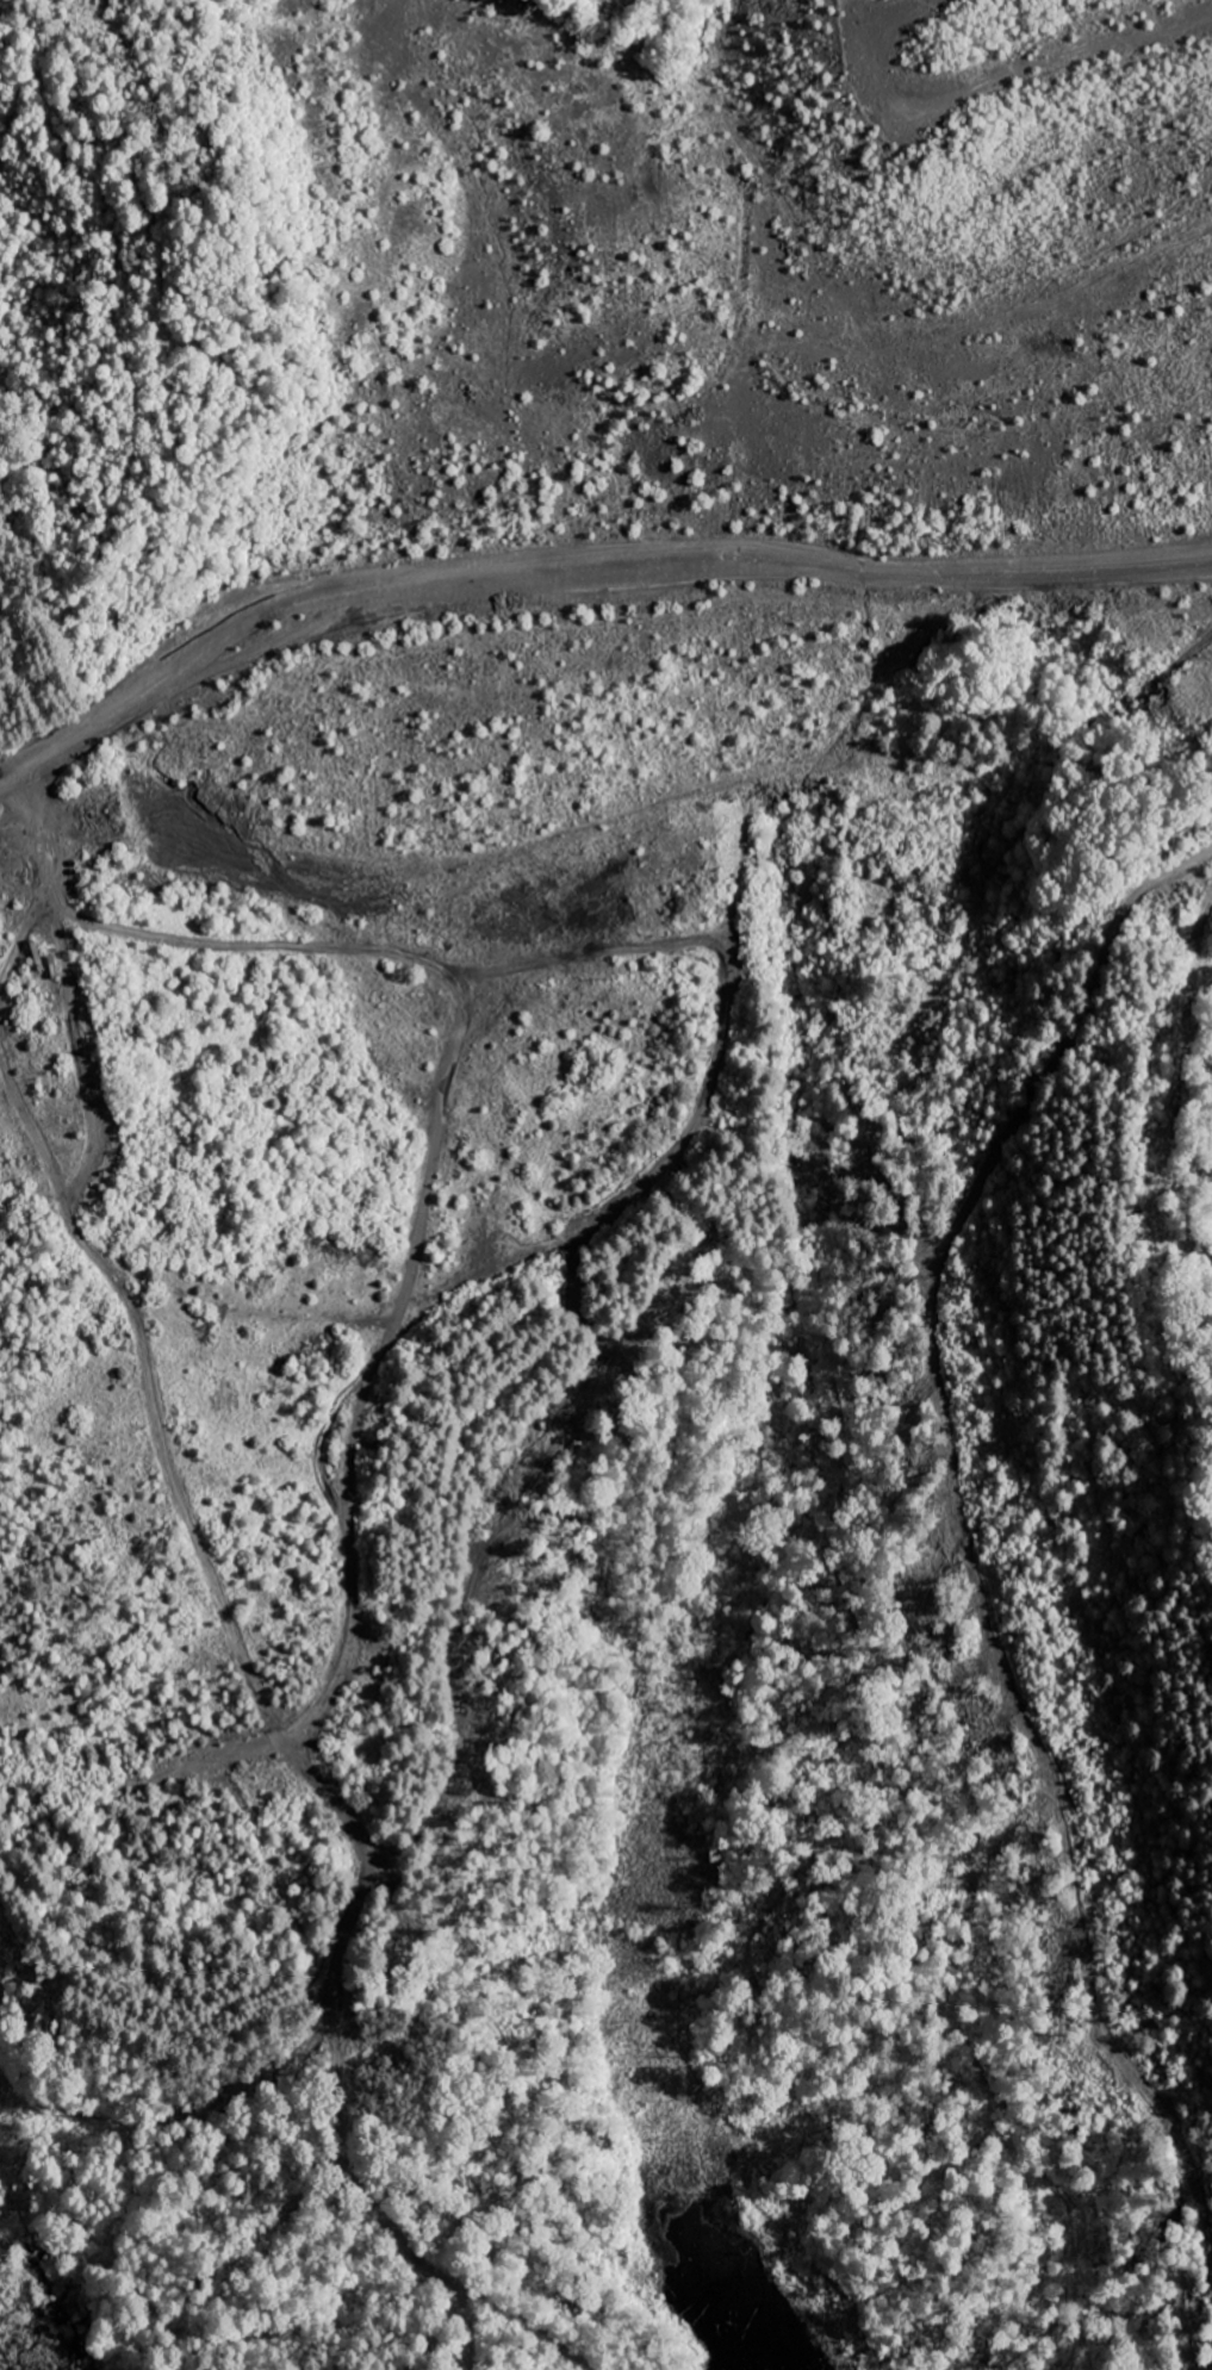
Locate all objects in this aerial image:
road: (771, 572)
road: (468, 1034)
road: (82, 1177)
road: (387, 1360)
road: (367, 2184)

